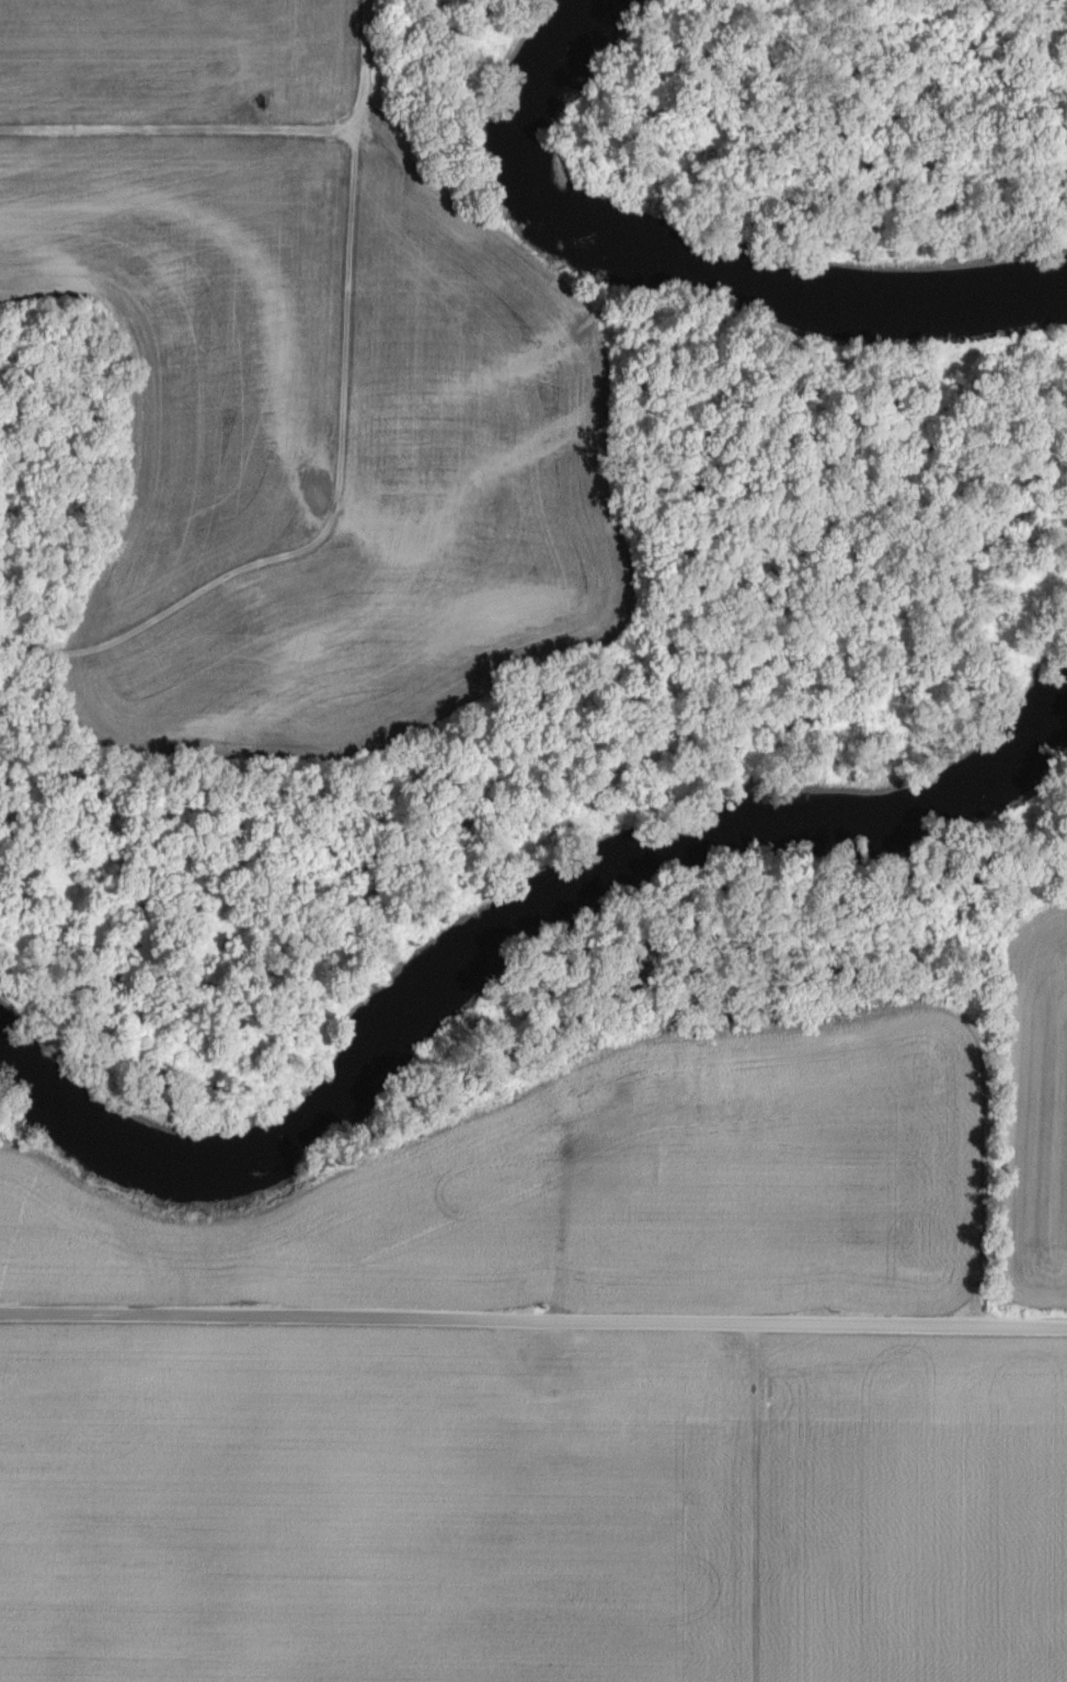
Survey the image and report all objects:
road: (241, 130)
river: (687, 268)
road: (336, 507)
river: (504, 942)
road: (73, 1169)
road: (566, 1210)
road: (533, 1320)
road: (755, 1502)

